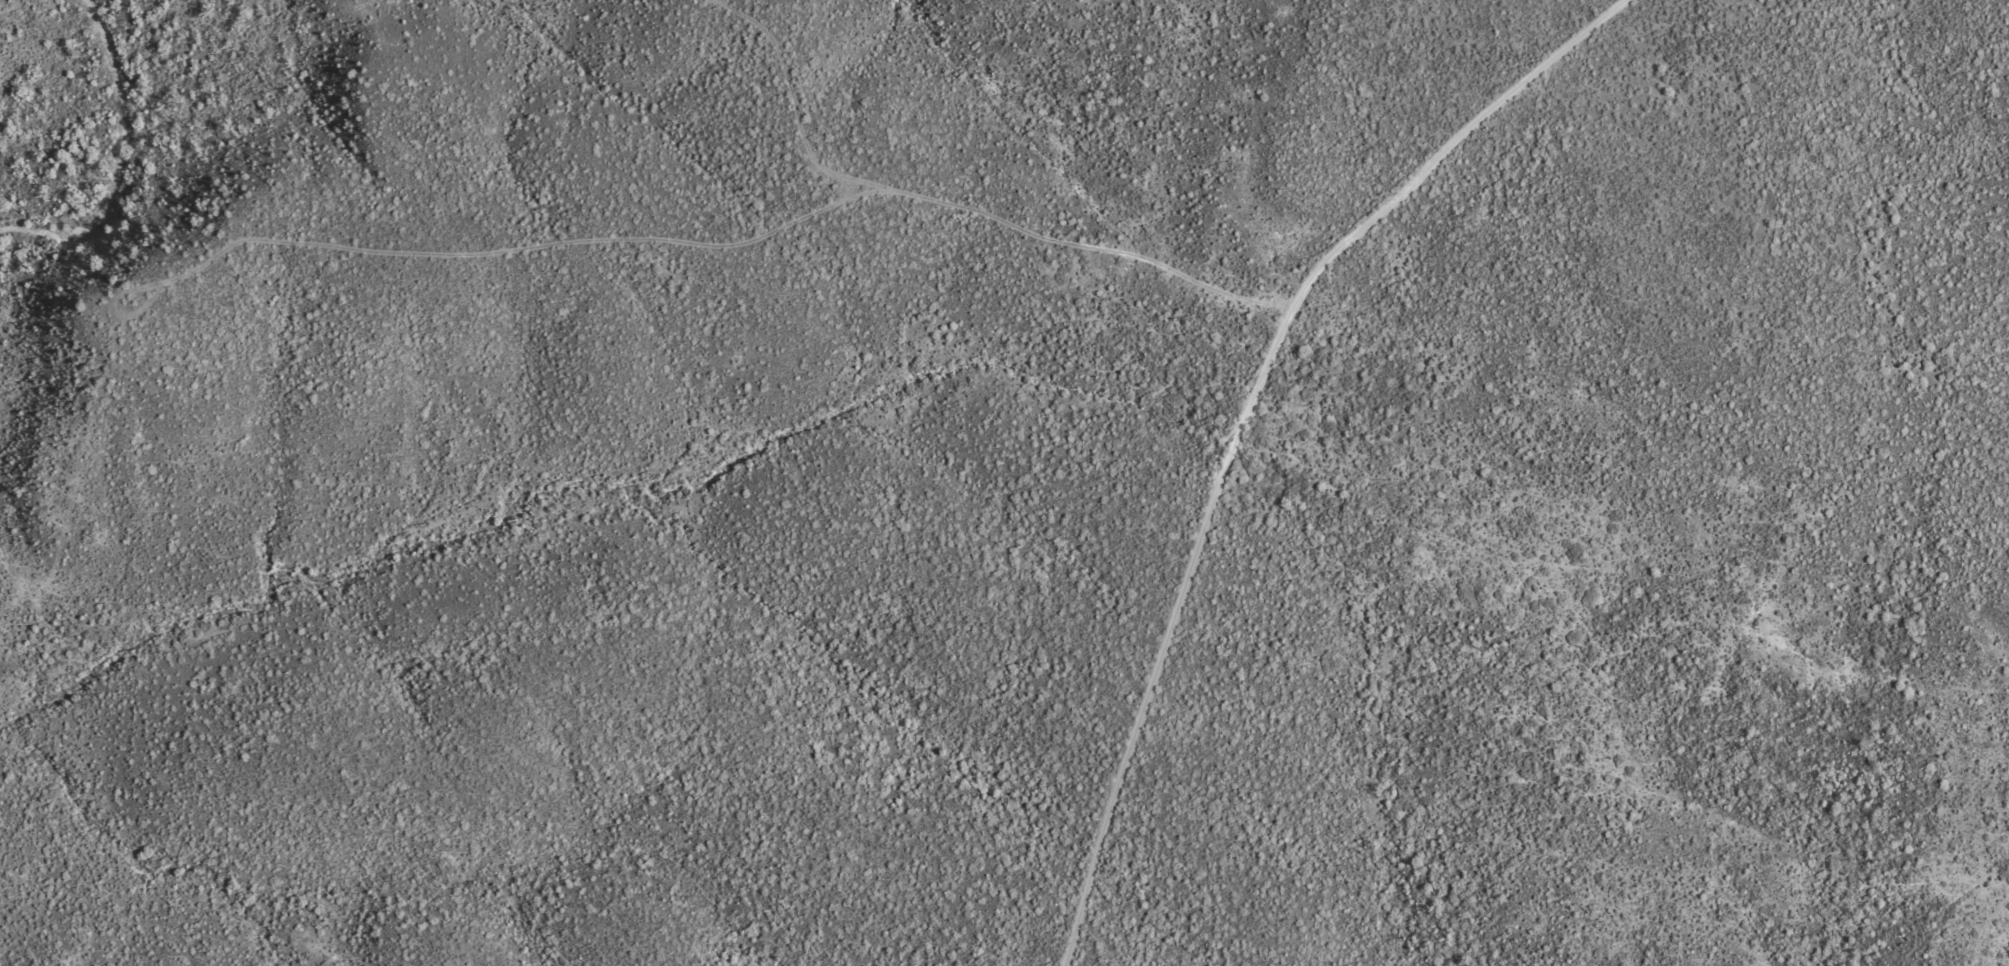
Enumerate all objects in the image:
road: (1251, 417)

